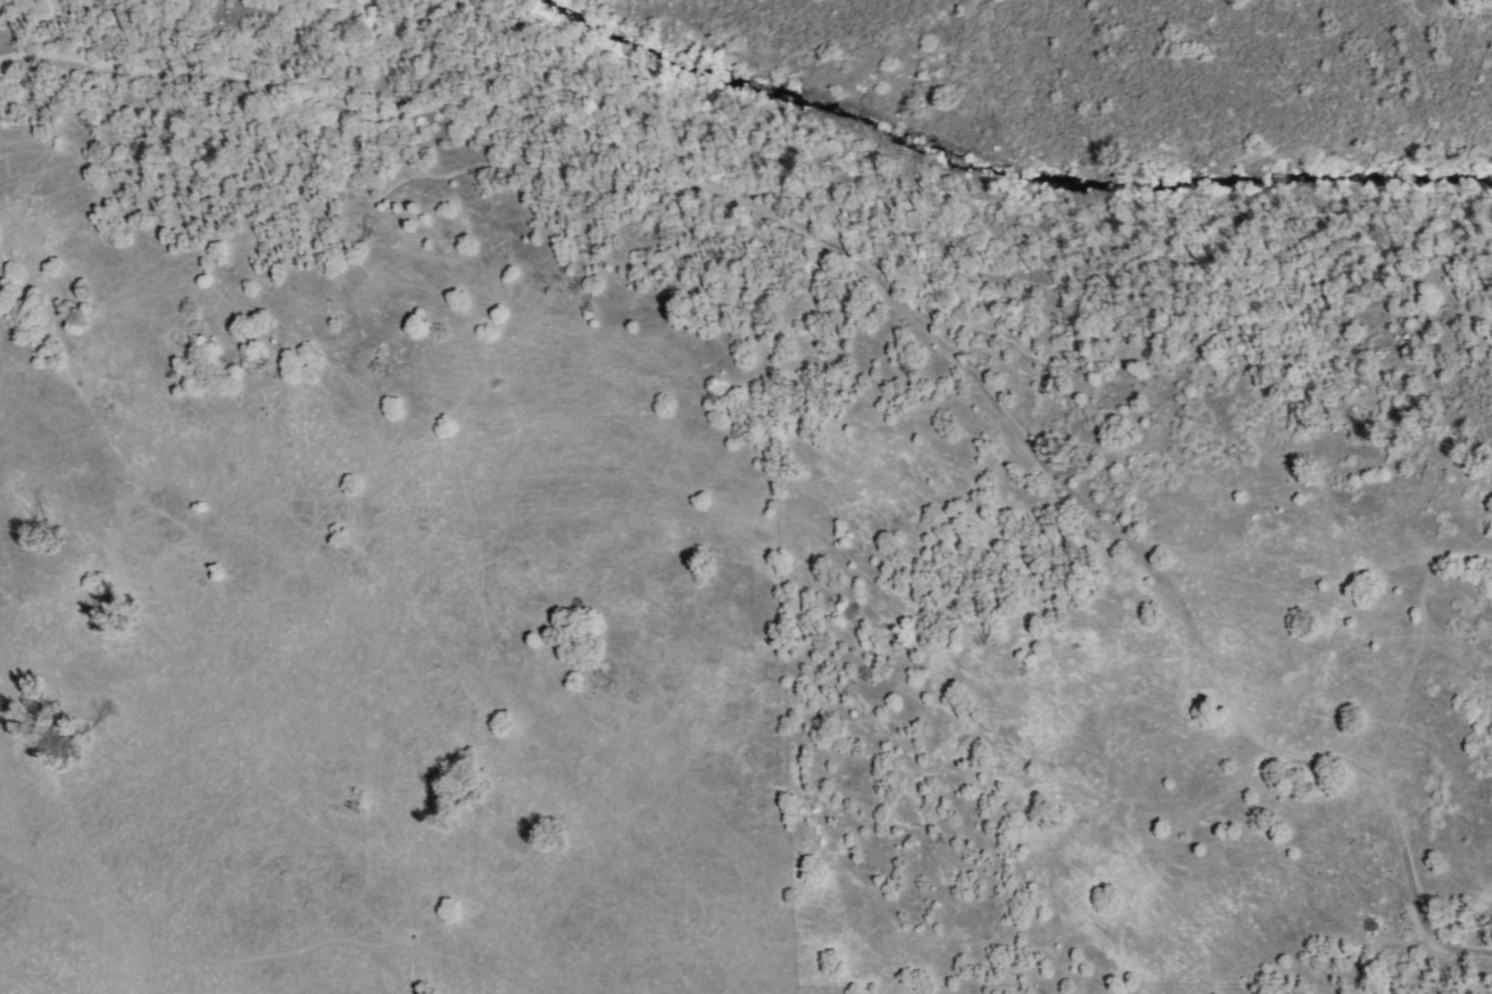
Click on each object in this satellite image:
road: (890, 290)

